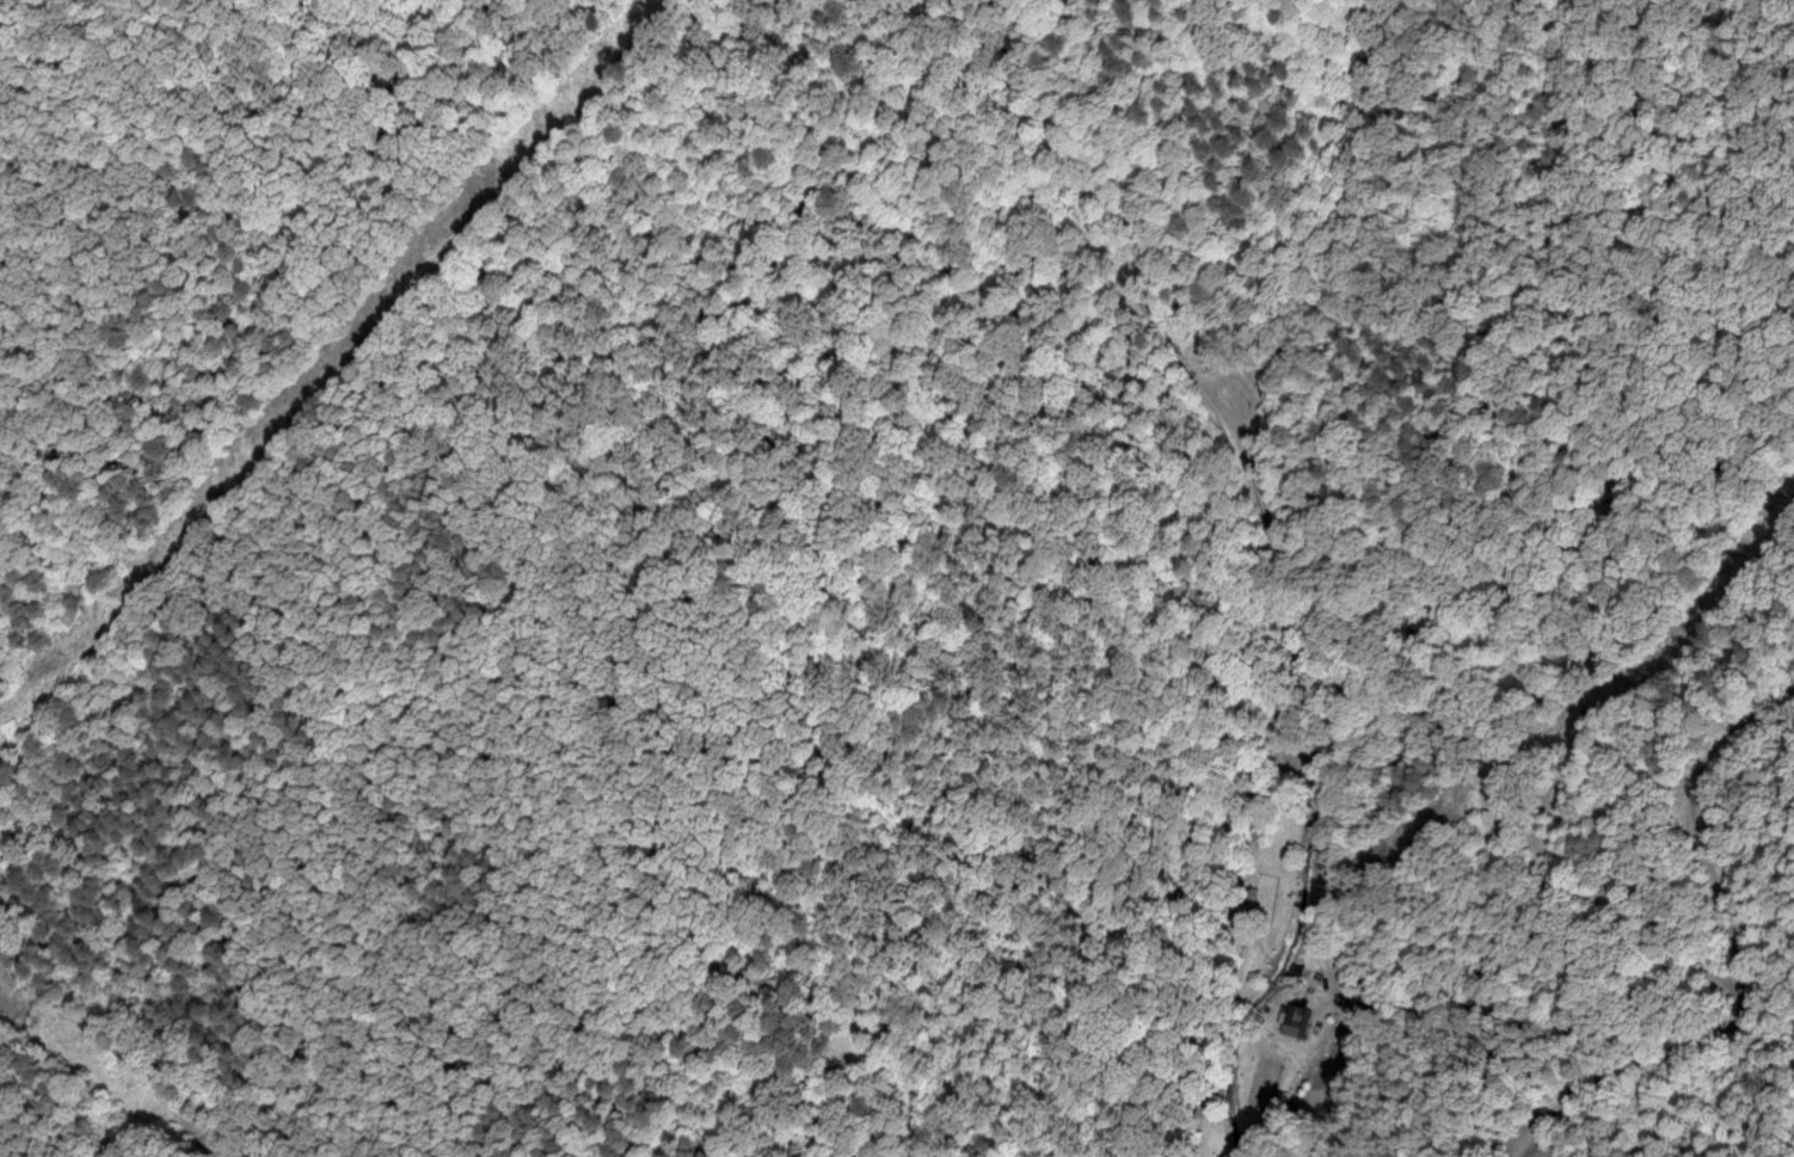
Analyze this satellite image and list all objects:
road: (1738, 958)
building: (1296, 1014)
road: (1335, 1050)

